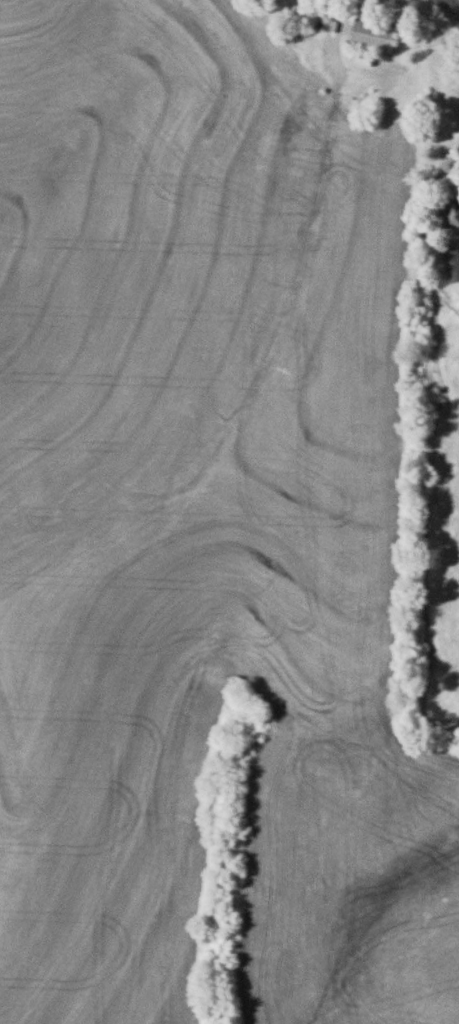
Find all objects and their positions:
road: (452, 6)
building: (372, 35)
building: (444, 209)
building: (451, 264)
road: (271, 334)

